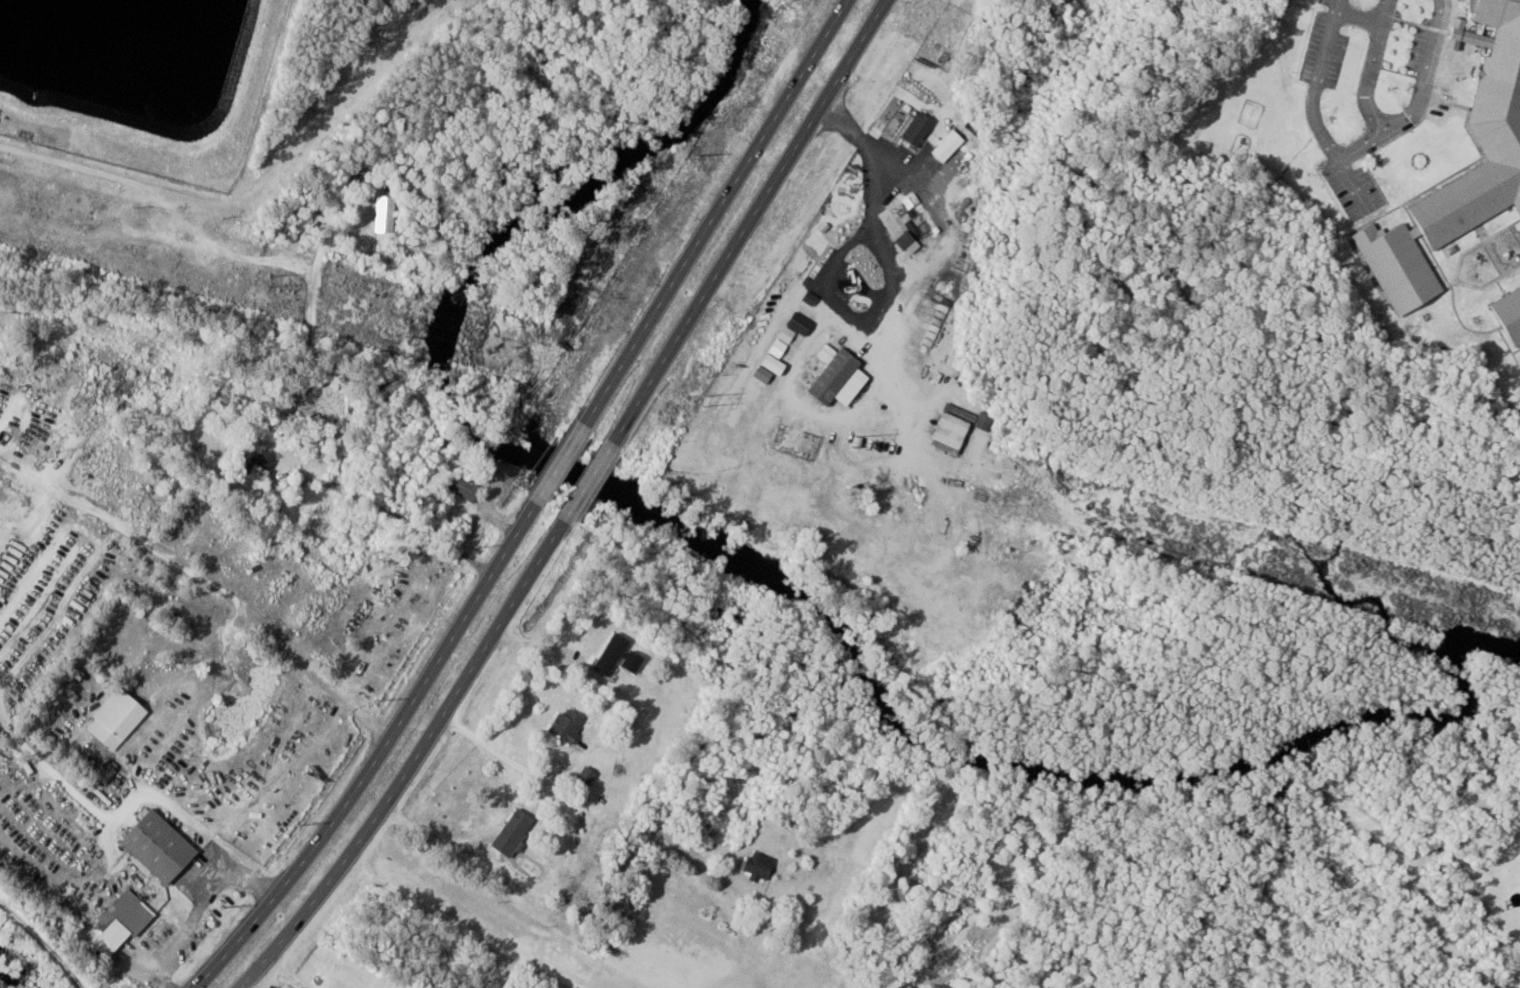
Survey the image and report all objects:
road: (1363, 19)
parking lot: (1380, 48)
parking lot: (1327, 49)
road: (1375, 70)
building: (913, 129)
building: (1496, 143)
building: (945, 147)
road: (1356, 154)
road: (1356, 186)
parking lot: (1353, 189)
building: (390, 213)
road: (716, 214)
road: (745, 222)
building: (821, 242)
building: (932, 242)
building: (805, 264)
building: (858, 275)
power tower: (272, 279)
power tower: (598, 286)
building: (1508, 315)
building: (796, 317)
building: (831, 377)
power tower: (708, 401)
building: (947, 430)
power tower: (851, 440)
building: (269, 463)
road: (560, 466)
building: (731, 480)
power tower: (513, 484)
road: (590, 485)
building: (472, 488)
building: (712, 491)
building: (898, 495)
power tower: (1271, 555)
building: (608, 656)
road: (554, 659)
building: (121, 718)
building: (562, 726)
road: (376, 755)
road: (512, 758)
road: (415, 763)
building: (583, 777)
road: (111, 817)
road: (427, 834)
building: (510, 834)
building: (165, 846)
building: (754, 866)
road: (198, 904)
building: (123, 923)
road: (458, 926)
road: (47, 939)

